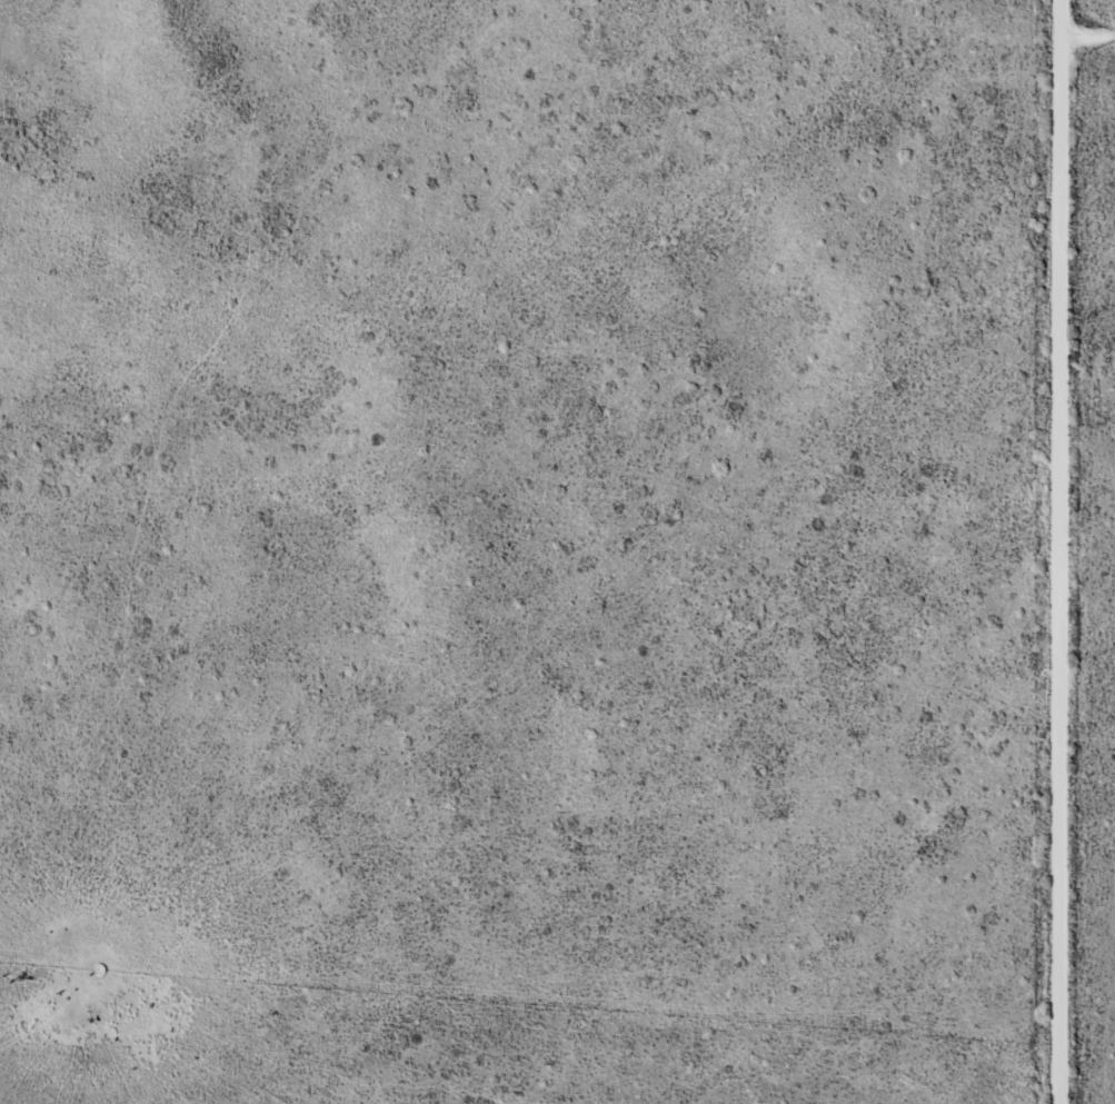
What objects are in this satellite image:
road: (1087, 39)
road: (1059, 551)

